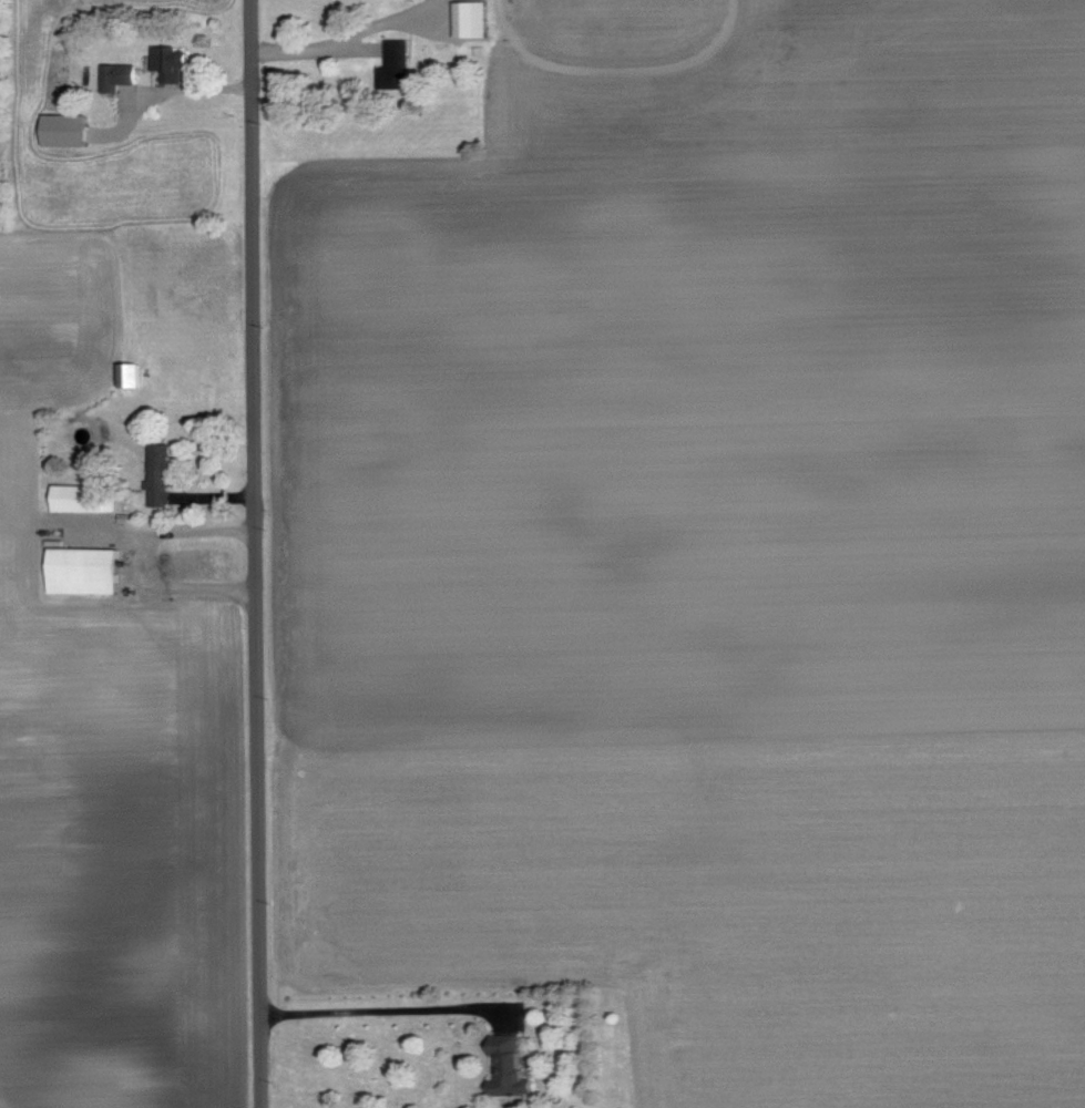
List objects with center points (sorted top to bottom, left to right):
building: (475, 19)
road: (308, 45)
building: (174, 62)
building: (400, 63)
building: (120, 75)
road: (166, 90)
building: (69, 130)
building: (132, 375)
building: (163, 475)
building: (83, 497)
road: (253, 554)
road: (150, 558)
building: (86, 571)
road: (389, 1012)
building: (512, 1066)

